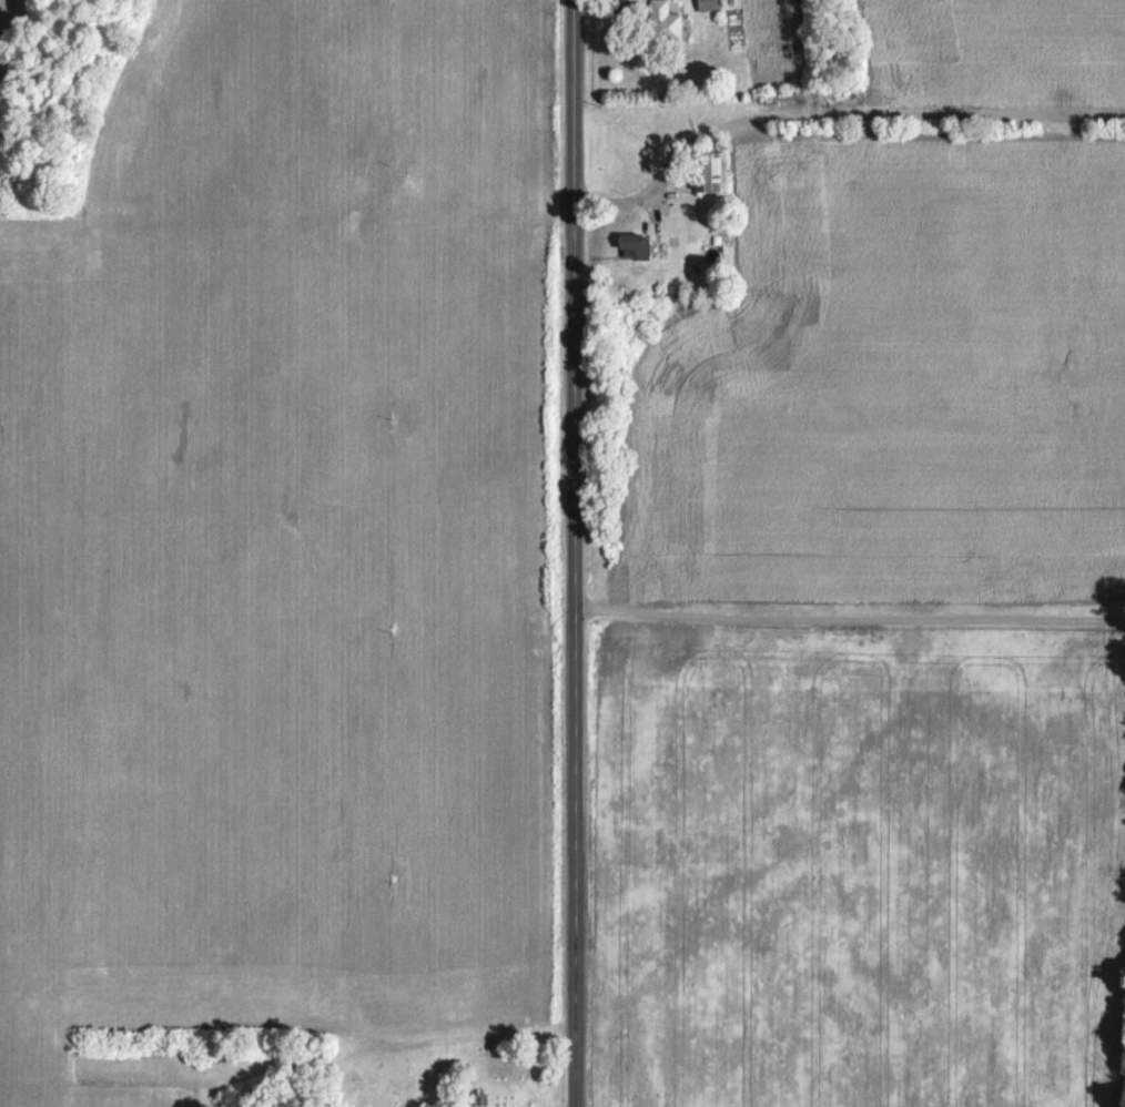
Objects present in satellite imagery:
building: (705, 4)
building: (662, 21)
road: (835, 98)
building: (708, 173)
building: (631, 244)
road: (575, 552)
road: (849, 618)
building: (463, 1097)

